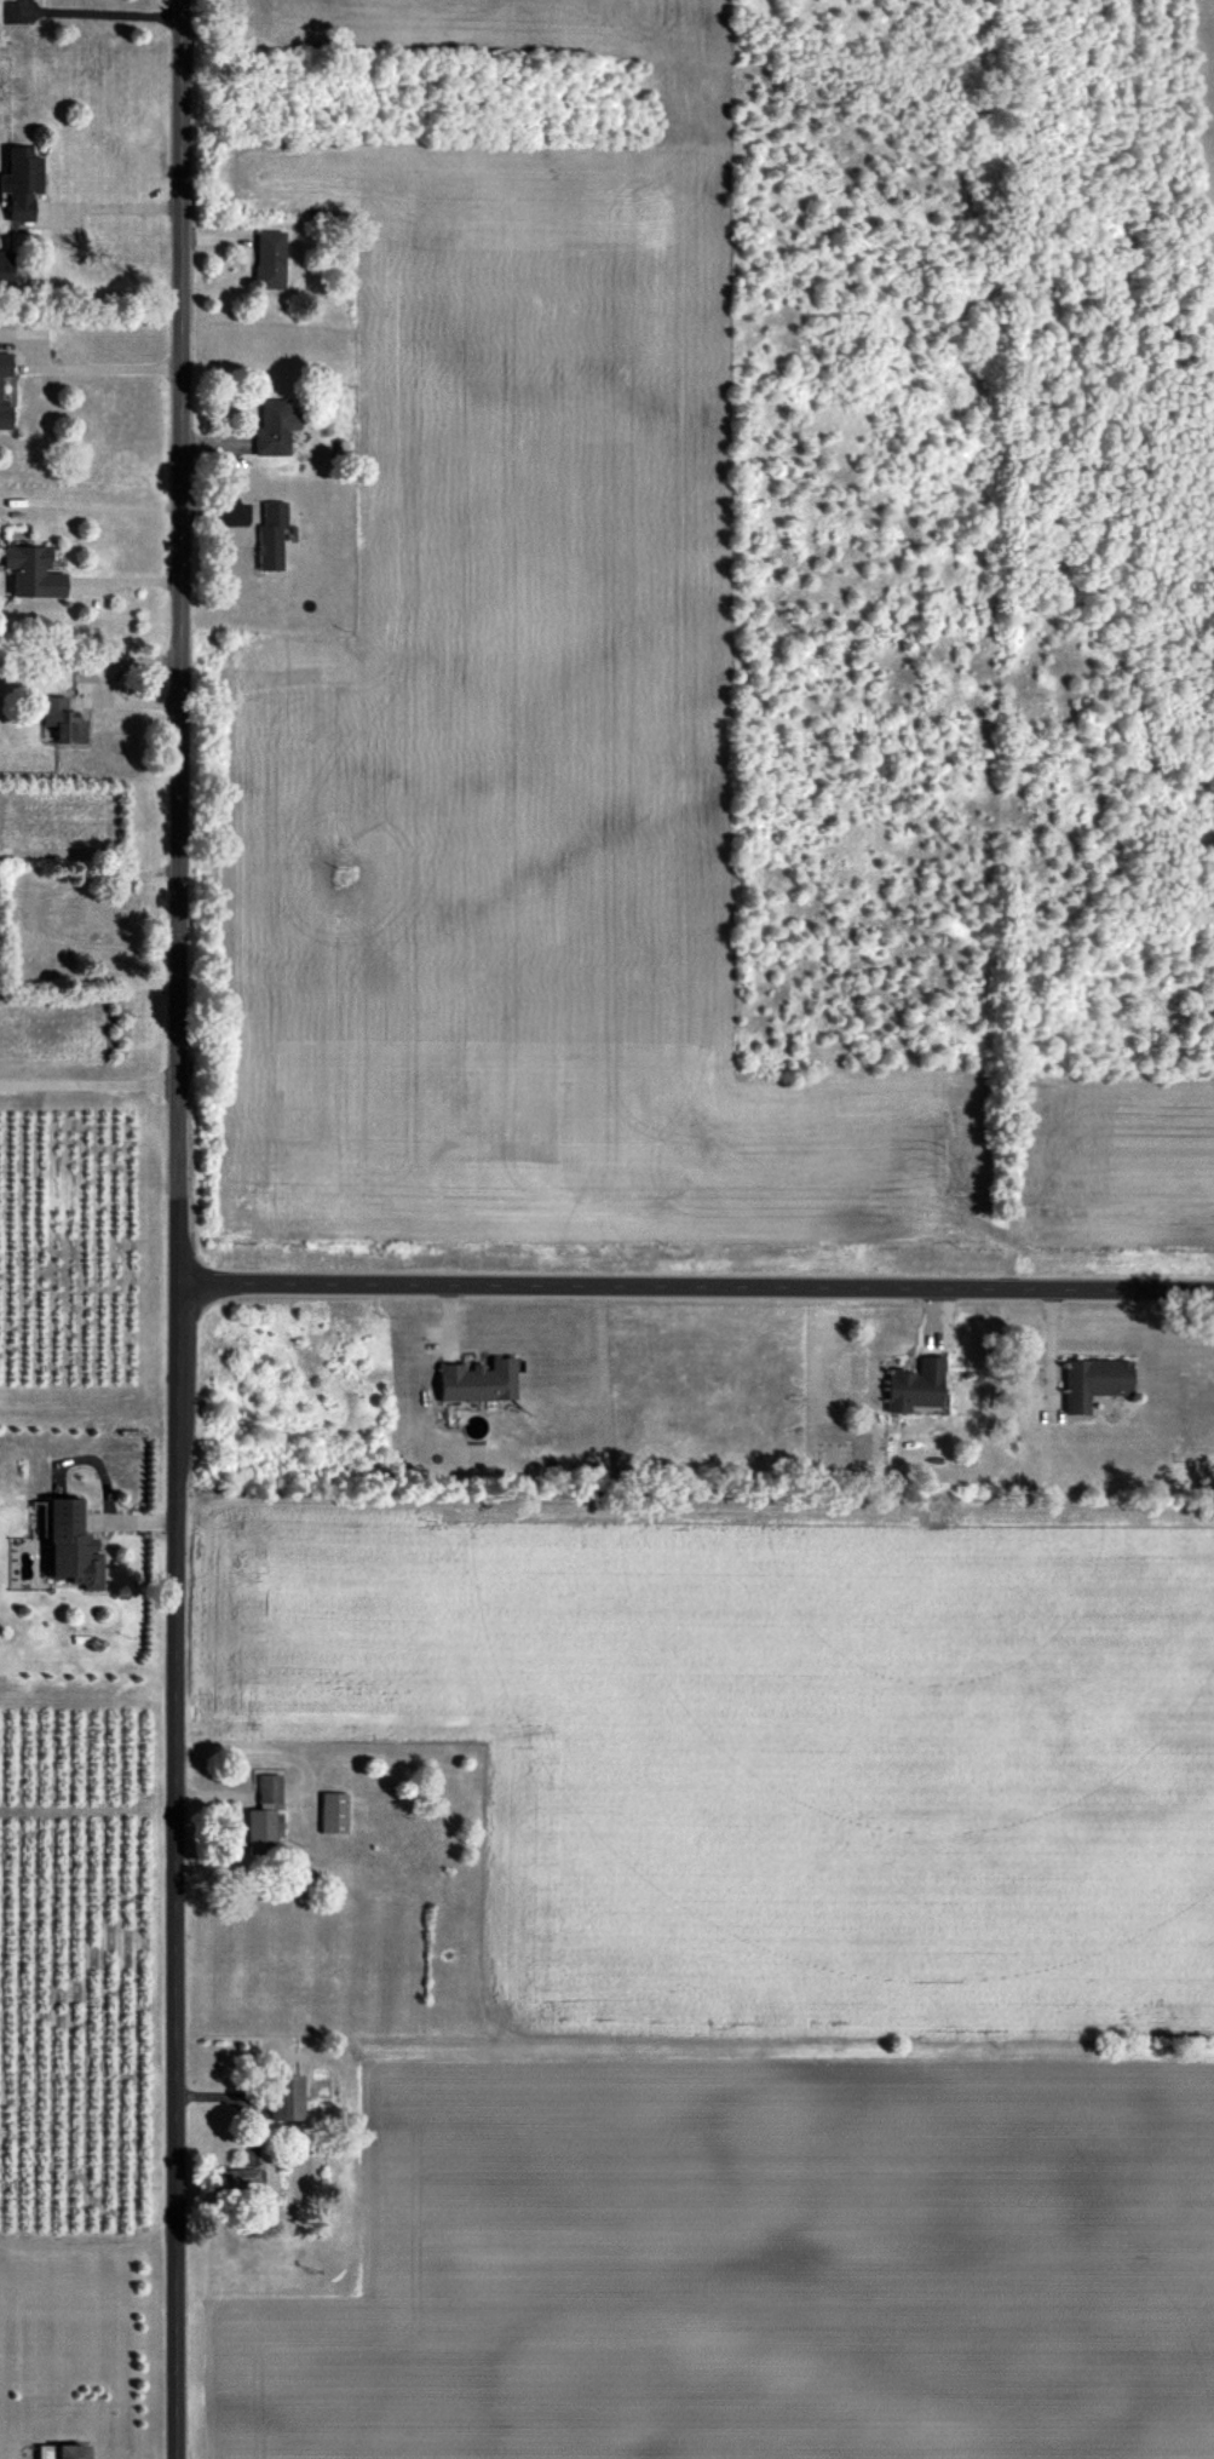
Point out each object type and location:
road: (103, 19)
building: (24, 183)
road: (114, 208)
building: (271, 260)
building: (6, 269)
road: (113, 373)
building: (1, 389)
building: (275, 429)
building: (271, 538)
building: (35, 574)
road: (121, 585)
road: (109, 684)
building: (61, 725)
building: (96, 917)
road: (90, 1088)
road: (180, 1229)
road: (697, 1288)
building: (481, 1384)
building: (1097, 1384)
building: (919, 1388)
building: (70, 1545)
building: (334, 1815)
building: (266, 1821)
building: (380, 1833)
building: (426, 1881)
building: (275, 2096)
building: (232, 2181)
building: (62, 2452)

